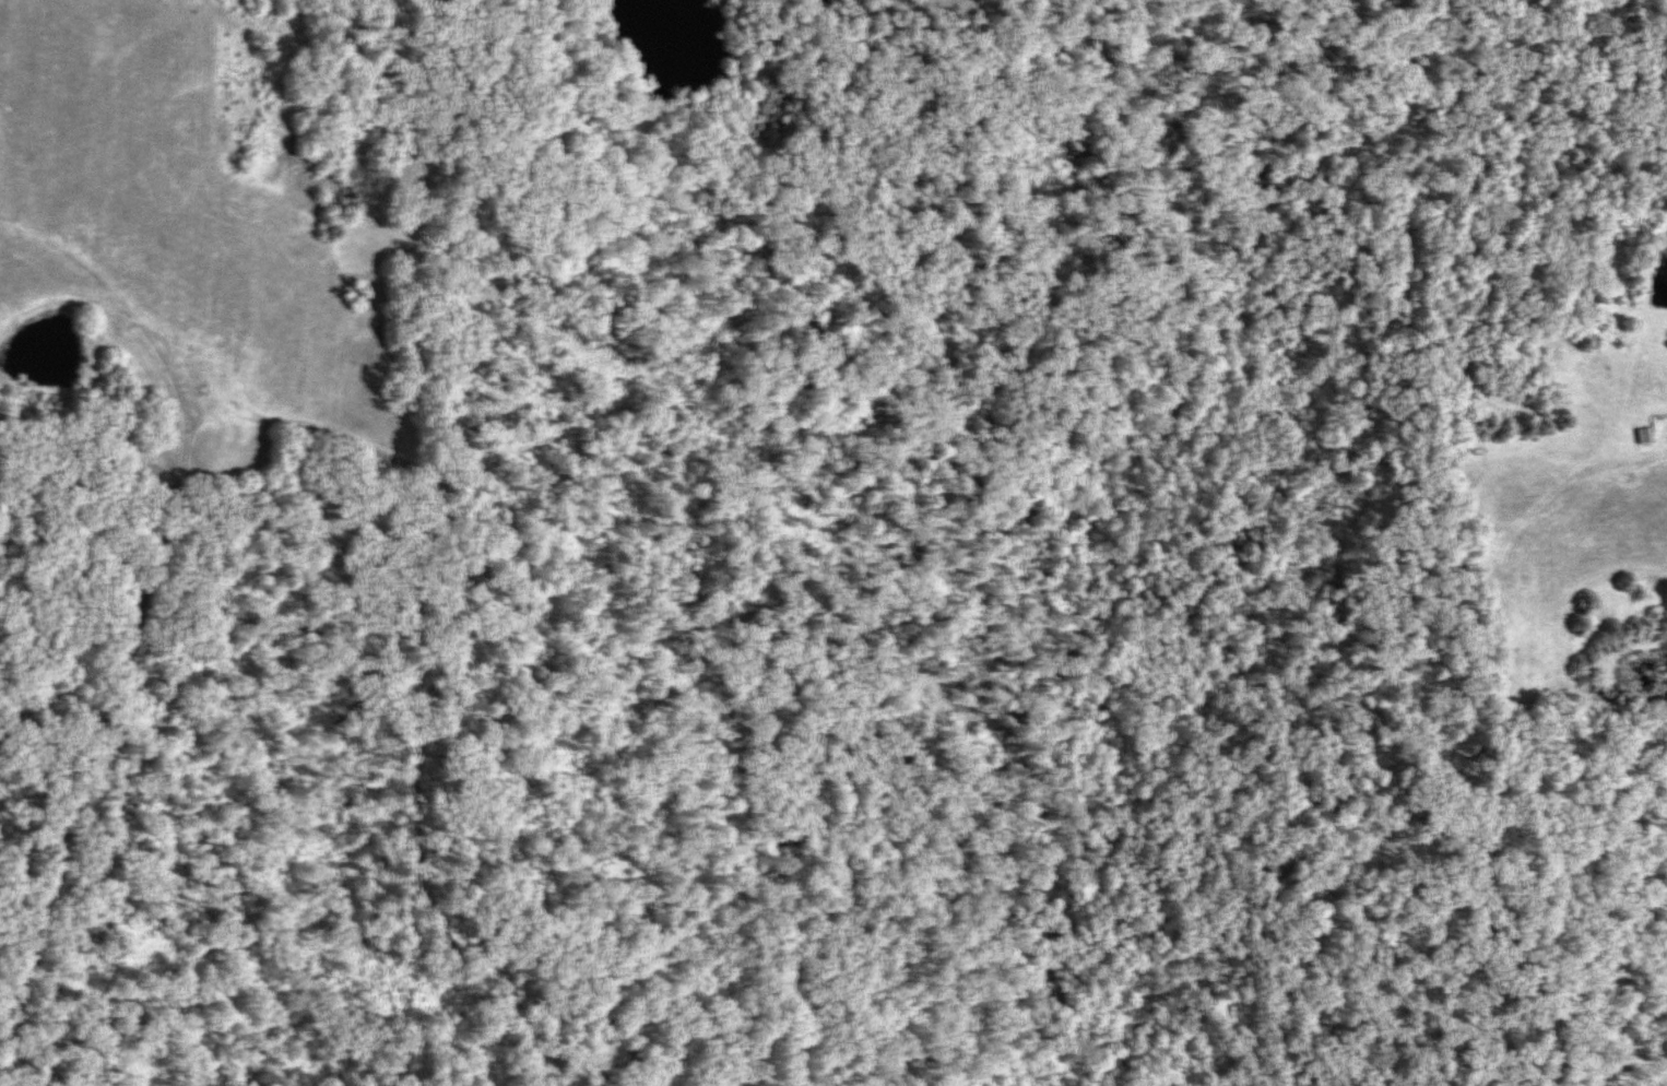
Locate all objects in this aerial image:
building: (1658, 424)

